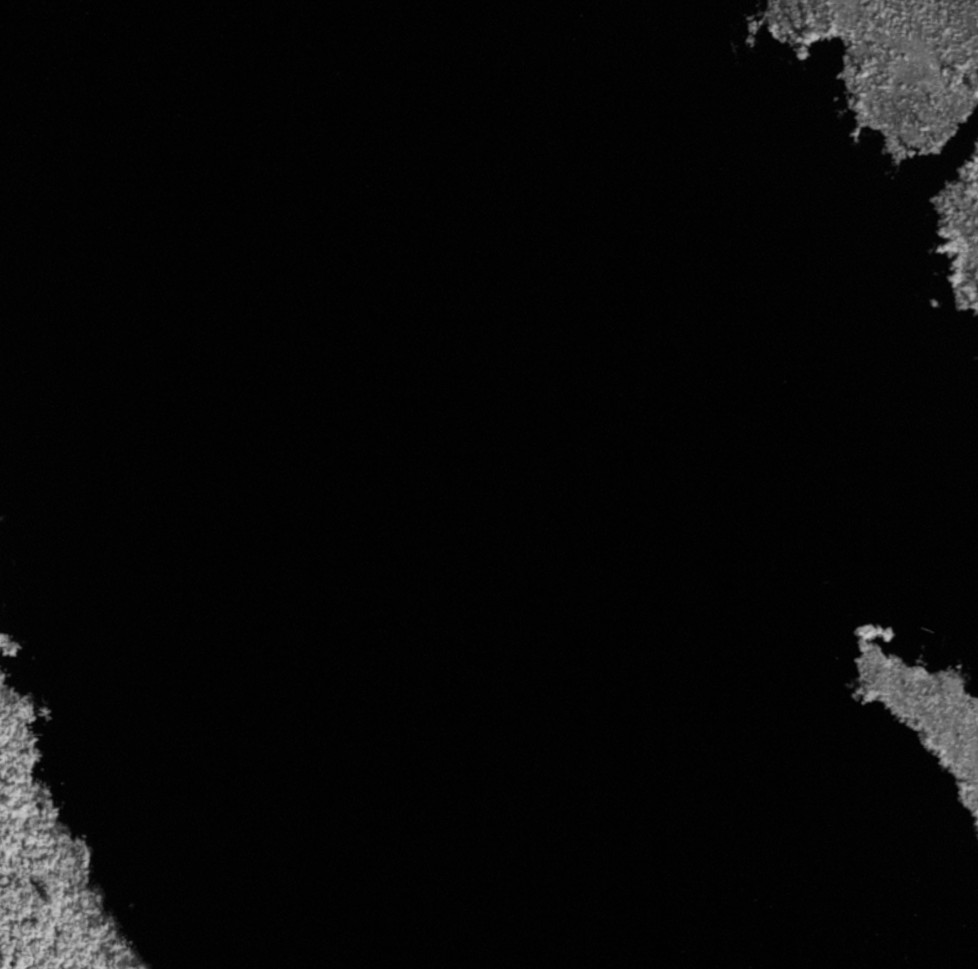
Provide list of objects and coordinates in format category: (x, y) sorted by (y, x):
river: (475, 475)

